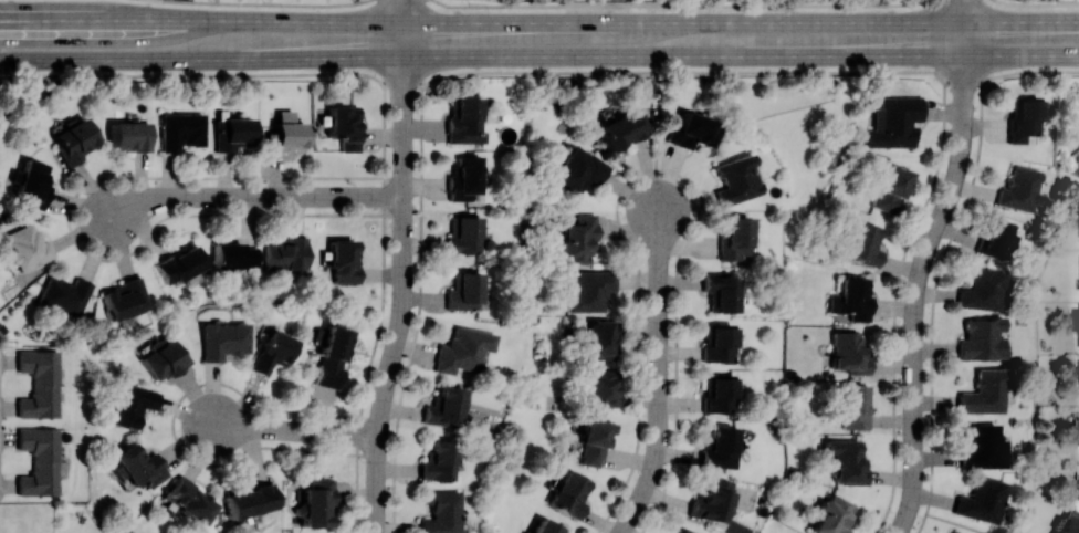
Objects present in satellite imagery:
road: (268, 2)
road: (1038, 3)
road: (678, 4)
road: (404, 10)
road: (538, 21)
road: (965, 28)
road: (538, 55)
road: (539, 71)
building: (1023, 117)
park: (1069, 117)
building: (464, 119)
road: (658, 119)
building: (894, 122)
building: (344, 126)
building: (621, 129)
building: (181, 130)
building: (692, 130)
building: (232, 133)
building: (286, 133)
park: (799, 134)
building: (130, 135)
building: (75, 138)
building: (579, 170)
building: (464, 178)
building: (735, 179)
building: (33, 184)
building: (890, 188)
building: (1020, 190)
road: (252, 196)
building: (464, 234)
building: (734, 238)
building: (577, 239)
building: (996, 239)
building: (862, 243)
building: (27, 247)
building: (287, 254)
building: (235, 255)
building: (344, 260)
building: (179, 264)
road: (405, 278)
building: (981, 289)
building: (590, 290)
building: (720, 290)
building: (465, 291)
road: (919, 291)
building: (65, 294)
building: (851, 297)
building: (125, 299)
building: (1078, 321)
building: (981, 338)
building: (223, 339)
building: (599, 339)
building: (717, 342)
building: (463, 349)
building: (272, 352)
building: (848, 353)
building: (333, 356)
building: (164, 358)
road: (659, 374)
building: (40, 383)
building: (603, 386)
building: (984, 391)
building: (717, 394)
building: (132, 404)
building: (446, 406)
building: (856, 407)
road: (295, 429)
building: (594, 442)
building: (719, 447)
building: (982, 447)
building: (40, 461)
building: (440, 461)
building: (846, 461)
building: (138, 466)
building: (1076, 492)
building: (569, 493)
building: (188, 499)
building: (250, 500)
building: (710, 500)
building: (981, 500)
building: (316, 503)
building: (442, 512)
building: (832, 515)
road: (958, 523)
building: (1069, 523)
building: (546, 527)
building: (951, 532)

